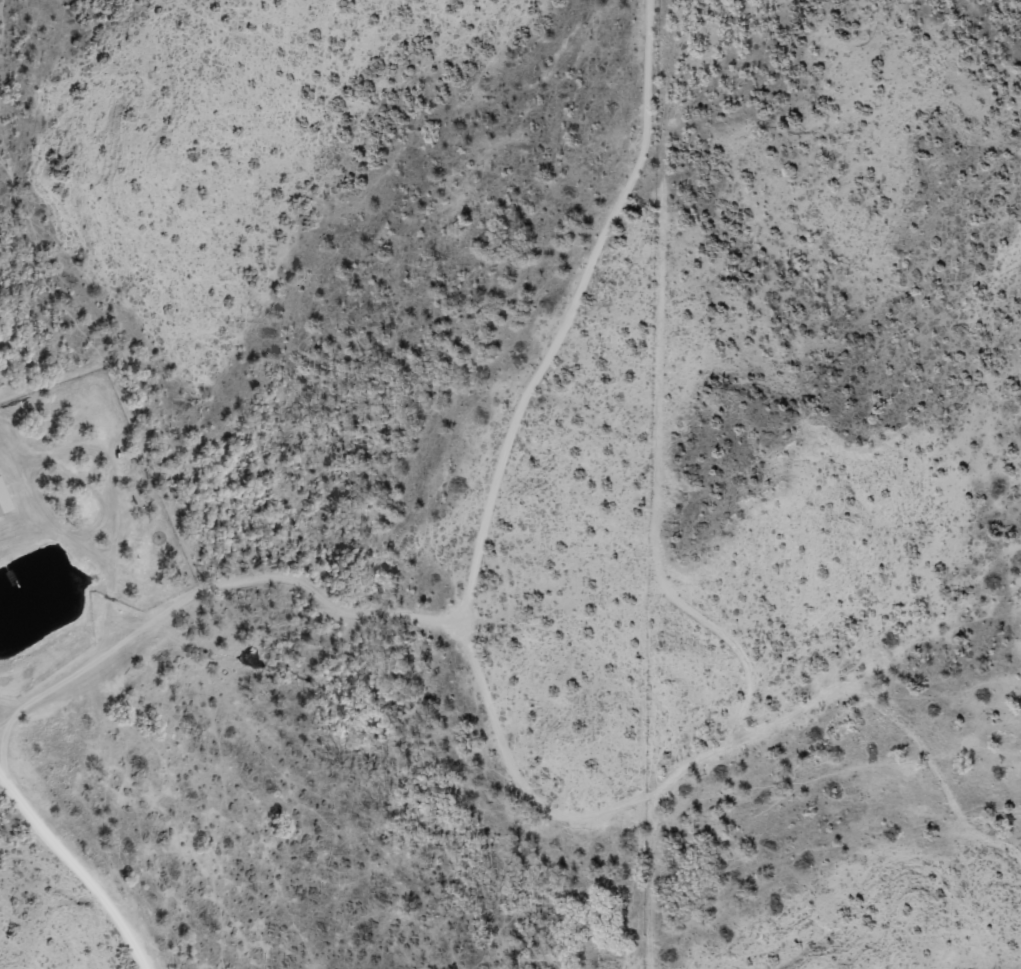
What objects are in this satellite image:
building: (2, 502)

